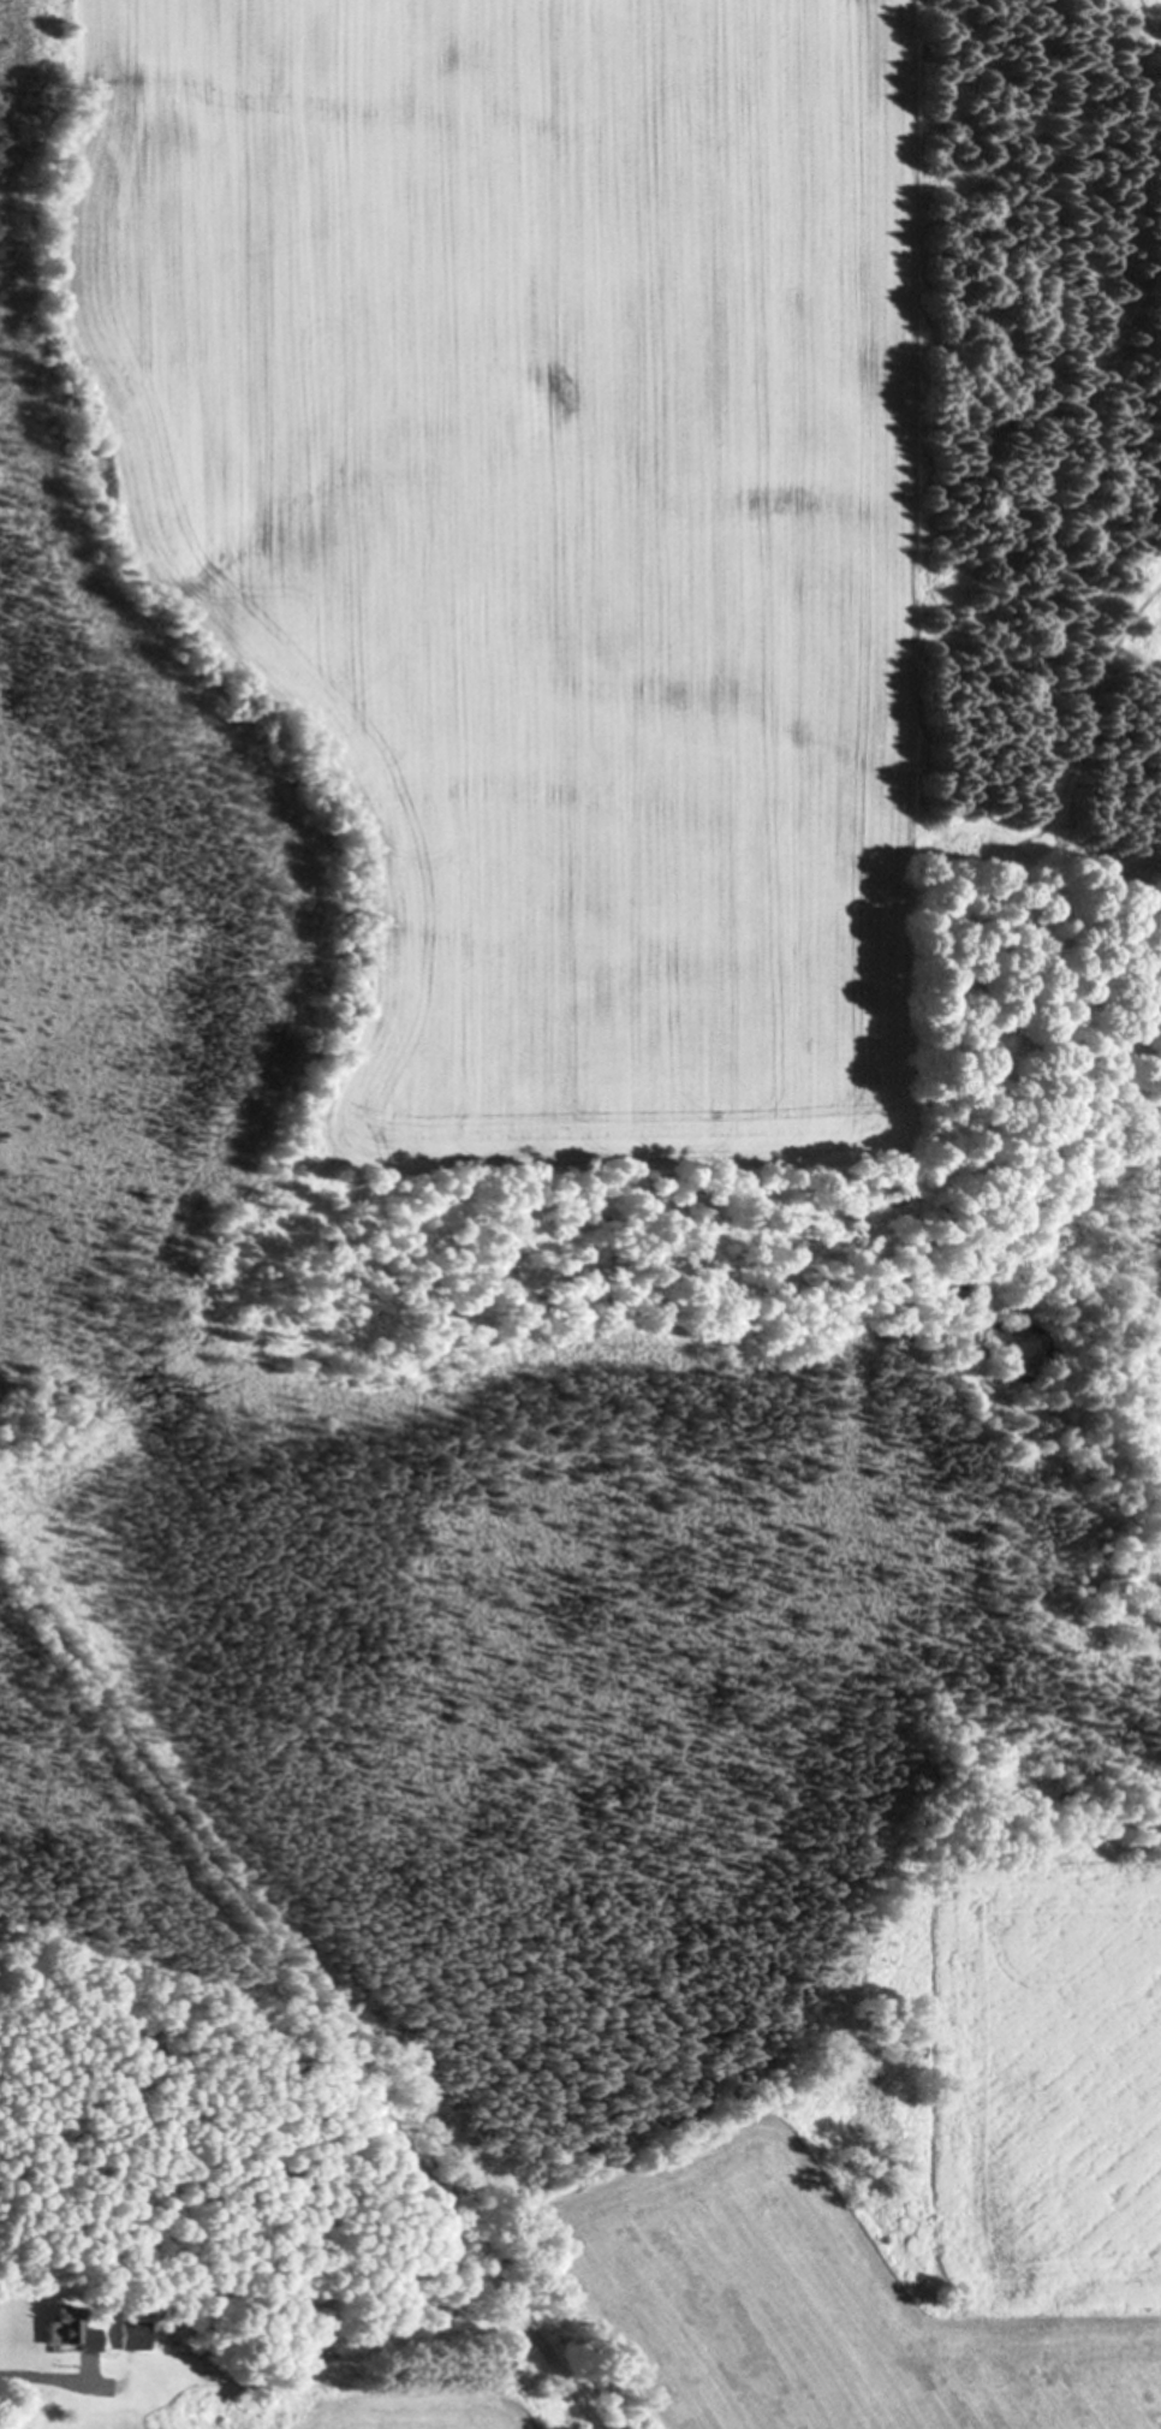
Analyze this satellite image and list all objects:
road: (302, 1993)
building: (61, 2329)
building: (126, 2334)
road: (43, 2378)

